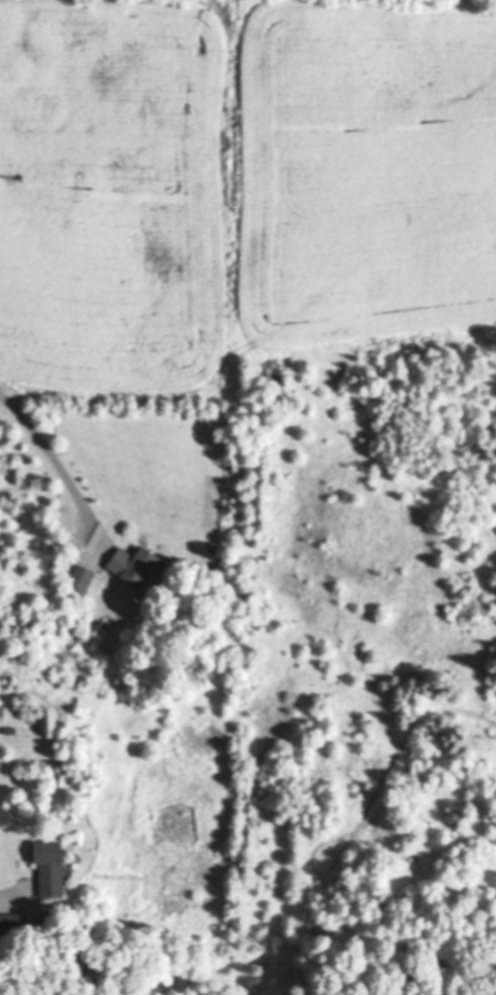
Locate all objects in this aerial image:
building: (134, 567)
building: (81, 579)
building: (50, 870)
building: (13, 927)

